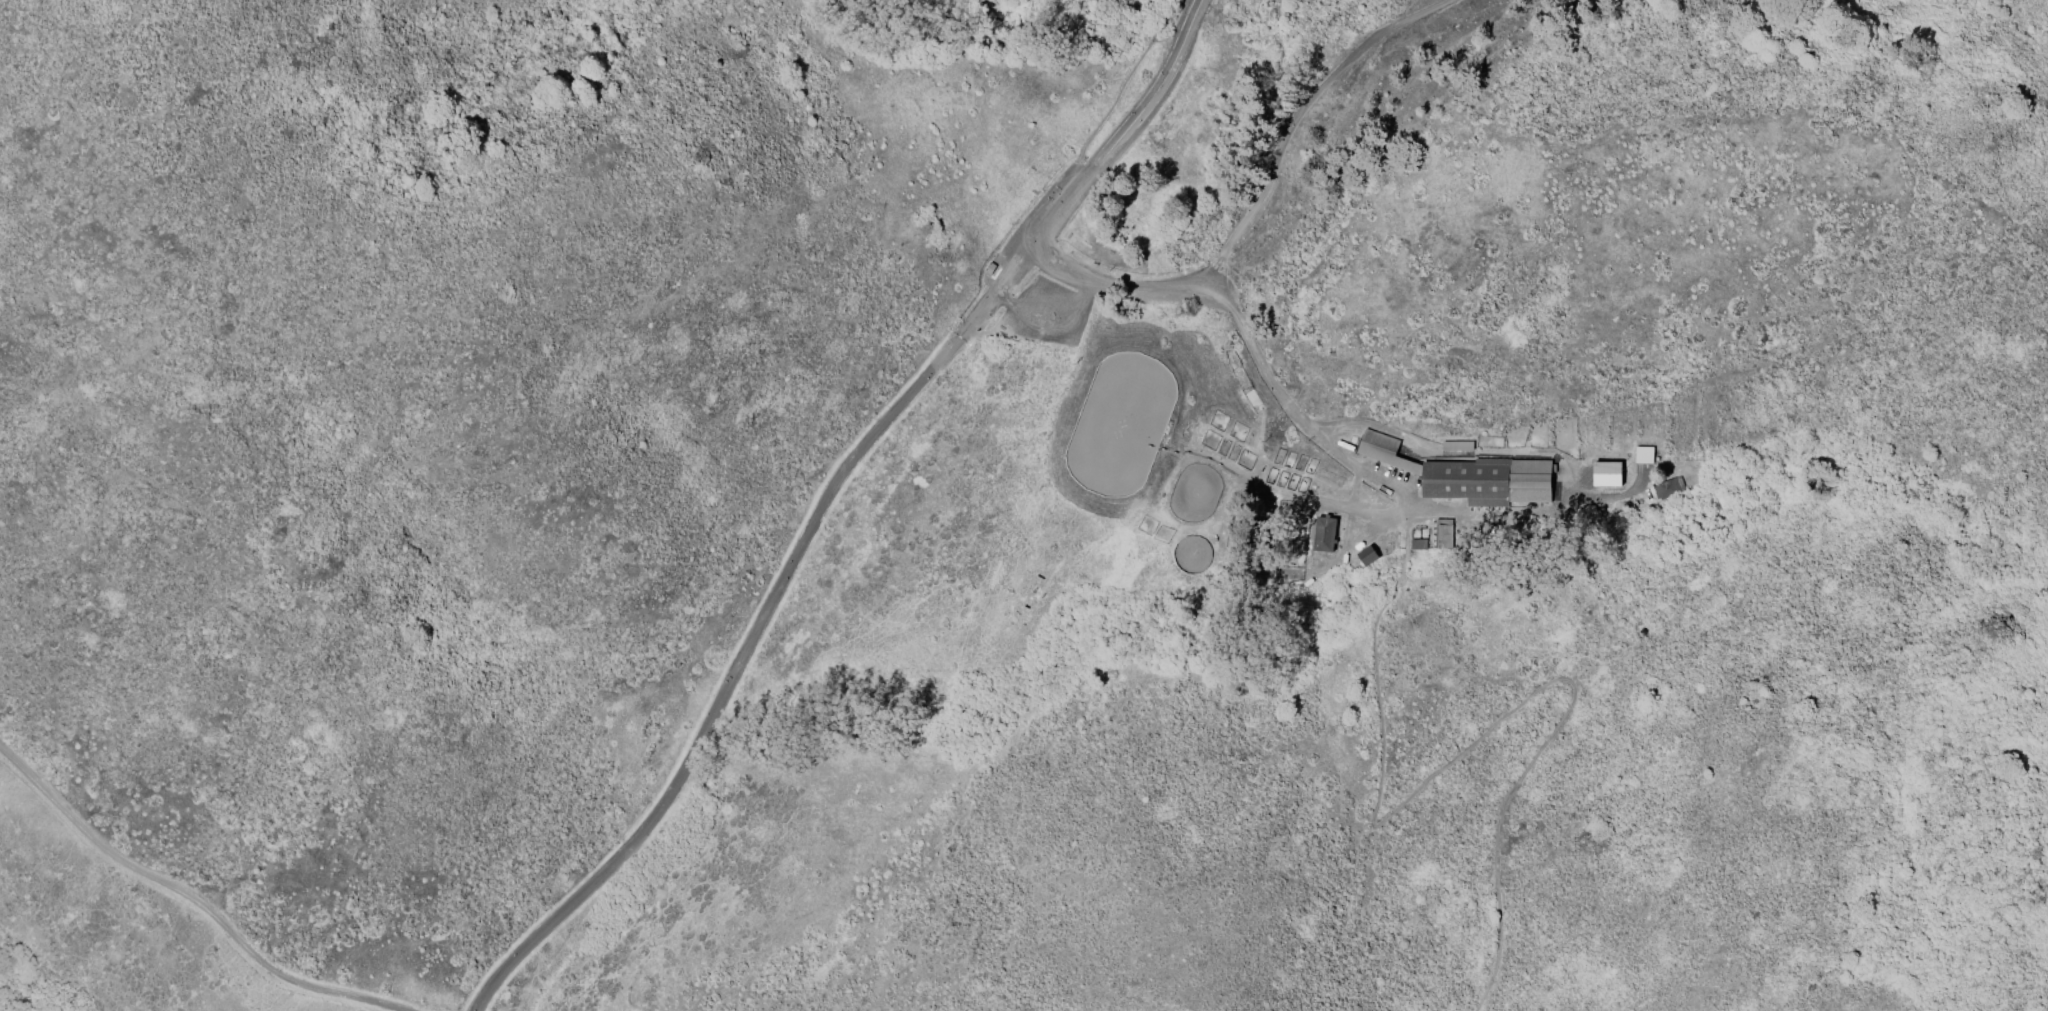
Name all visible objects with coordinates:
road: (1176, 33)
road: (1361, 47)
road: (1122, 91)
road: (1154, 97)
road: (1256, 202)
parking lot: (1041, 210)
road: (1060, 212)
road: (1114, 288)
road: (997, 290)
parking lot: (1043, 309)
road: (1054, 327)
road: (1291, 410)
park: (1120, 422)
building: (1458, 449)
building: (1486, 483)
building: (1668, 488)
building: (1445, 533)
building: (1418, 544)
building: (1367, 555)
road: (732, 686)
road: (1478, 741)
road: (186, 898)

